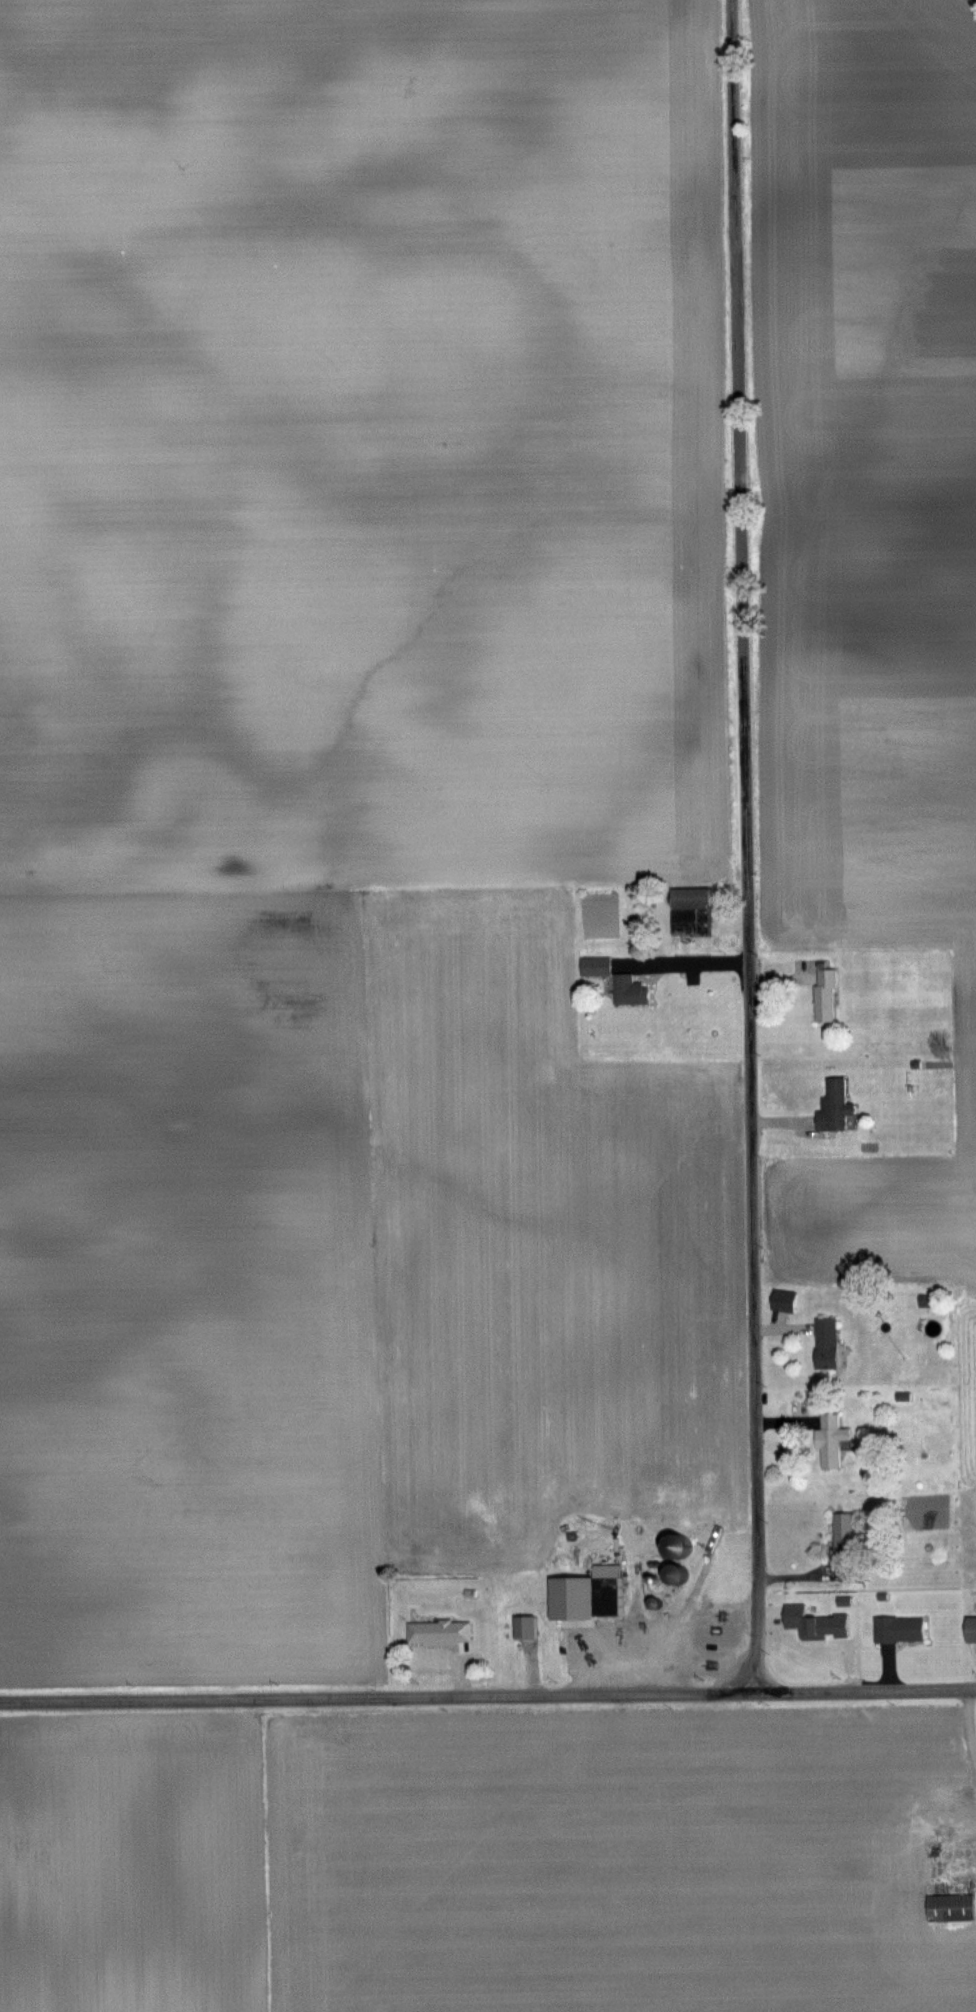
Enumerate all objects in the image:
road: (747, 846)
building: (690, 911)
building: (599, 965)
building: (628, 989)
building: (824, 994)
building: (833, 1105)
building: (825, 1343)
building: (830, 1441)
building: (843, 1534)
building: (604, 1589)
building: (823, 1625)
building: (523, 1627)
building: (713, 1628)
building: (898, 1628)
building: (970, 1628)
building: (438, 1630)
road: (488, 1697)
building: (950, 1908)

